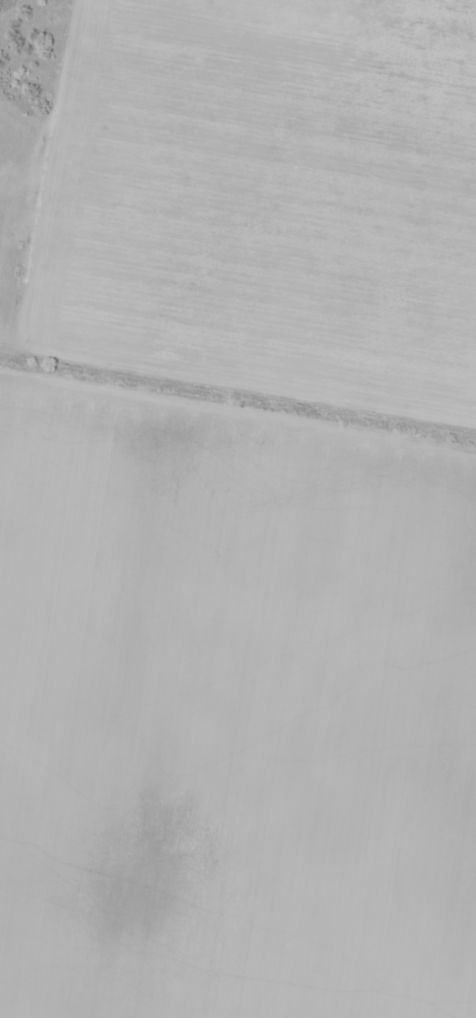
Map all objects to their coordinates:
road: (237, 180)
road: (238, 403)

